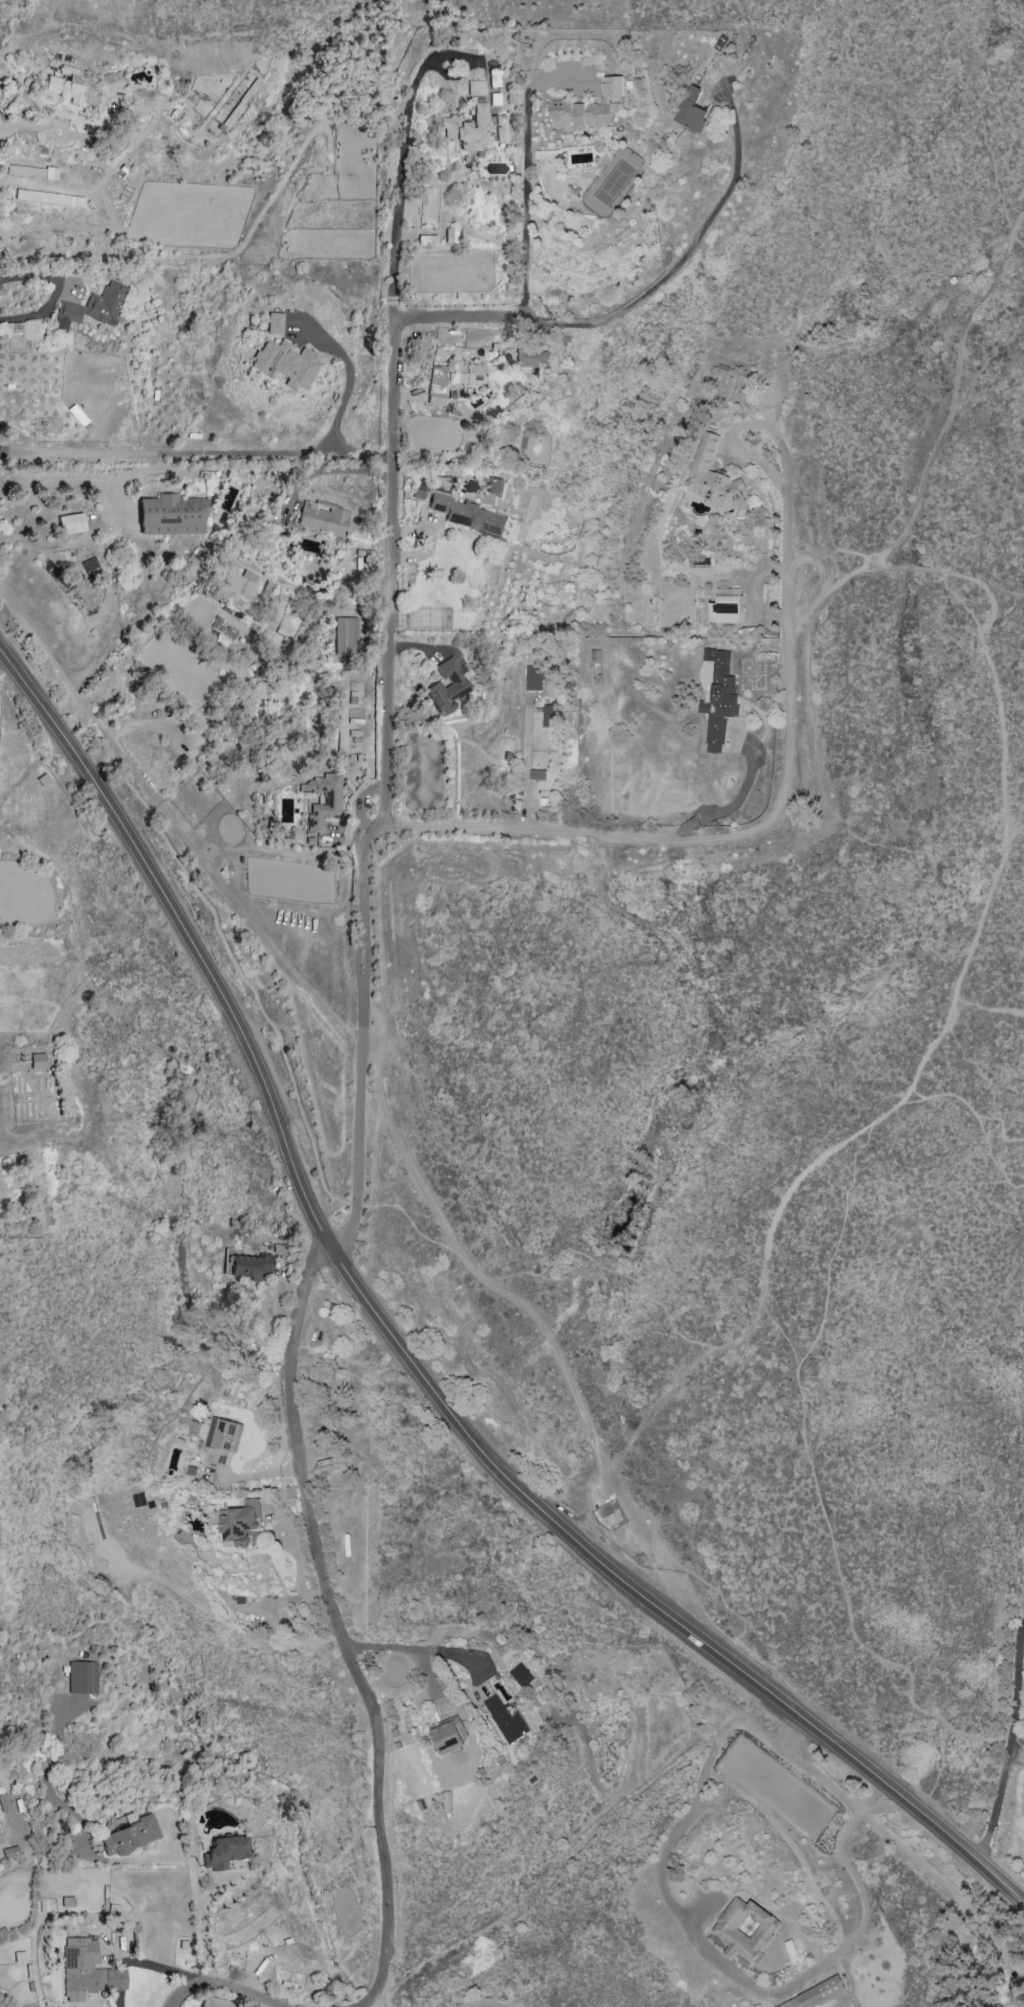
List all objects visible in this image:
building: (112, 83)
road: (416, 83)
building: (72, 86)
building: (476, 89)
building: (591, 108)
building: (691, 110)
road: (980, 113)
building: (476, 131)
building: (32, 173)
road: (527, 185)
building: (49, 199)
building: (451, 237)
road: (690, 250)
road: (58, 292)
building: (92, 309)
road: (469, 319)
building: (274, 325)
building: (531, 358)
road: (985, 360)
building: (287, 364)
road: (352, 374)
road: (198, 457)
building: (712, 476)
building: (494, 485)
road: (110, 508)
building: (469, 516)
building: (171, 517)
building: (323, 520)
building: (71, 525)
road: (831, 548)
building: (249, 577)
road: (943, 582)
road: (1006, 590)
road: (831, 593)
road: (1008, 605)
building: (725, 606)
building: (346, 638)
building: (532, 678)
building: (449, 688)
building: (717, 696)
road: (387, 712)
building: (548, 716)
building: (537, 774)
road: (786, 787)
building: (323, 801)
road: (735, 802)
road: (174, 825)
road: (1017, 830)
road: (1006, 840)
road: (885, 845)
road: (240, 972)
road: (987, 1012)
building: (37, 1063)
road: (977, 1070)
road: (971, 1112)
road: (993, 1160)
road: (420, 1235)
road: (836, 1244)
building: (247, 1265)
road: (610, 1270)
road: (534, 1317)
road: (411, 1358)
building: (220, 1439)
building: (611, 1519)
road: (839, 1568)
road: (698, 1579)
road: (338, 1625)
road: (413, 1650)
building: (522, 1675)
building: (83, 1679)
building: (505, 1719)
building: (447, 1737)
road: (1011, 1755)
road: (940, 1770)
building: (4, 1805)
road: (8, 1836)
building: (130, 1838)
building: (224, 1853)
road: (188, 1863)
road: (933, 1873)
road: (211, 1894)
building: (68, 1905)
building: (744, 1929)
road: (203, 1949)
building: (87, 1972)
road: (225, 1989)
road: (766, 1993)
building: (815, 1995)
road: (377, 2002)
road: (478, 2005)

